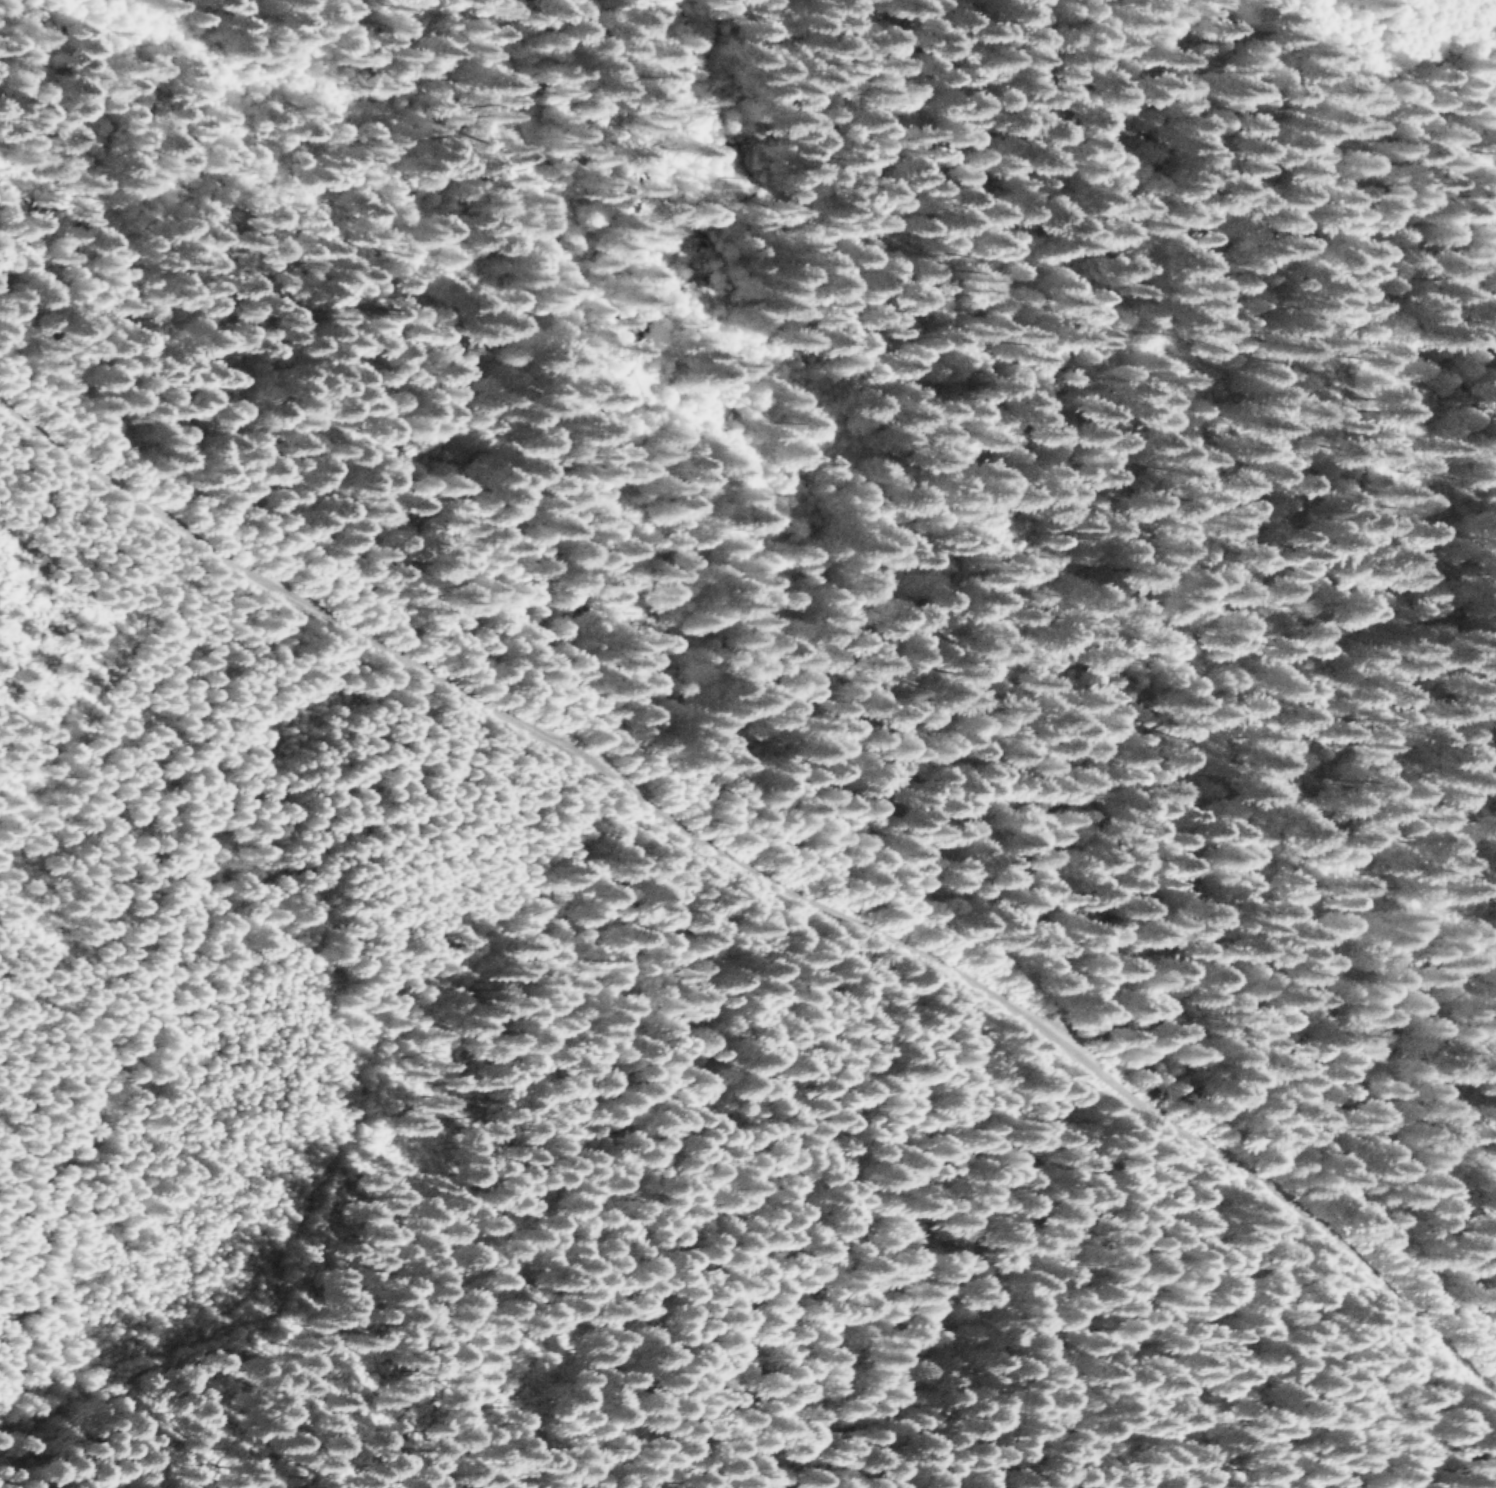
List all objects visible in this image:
road: (762, 853)

